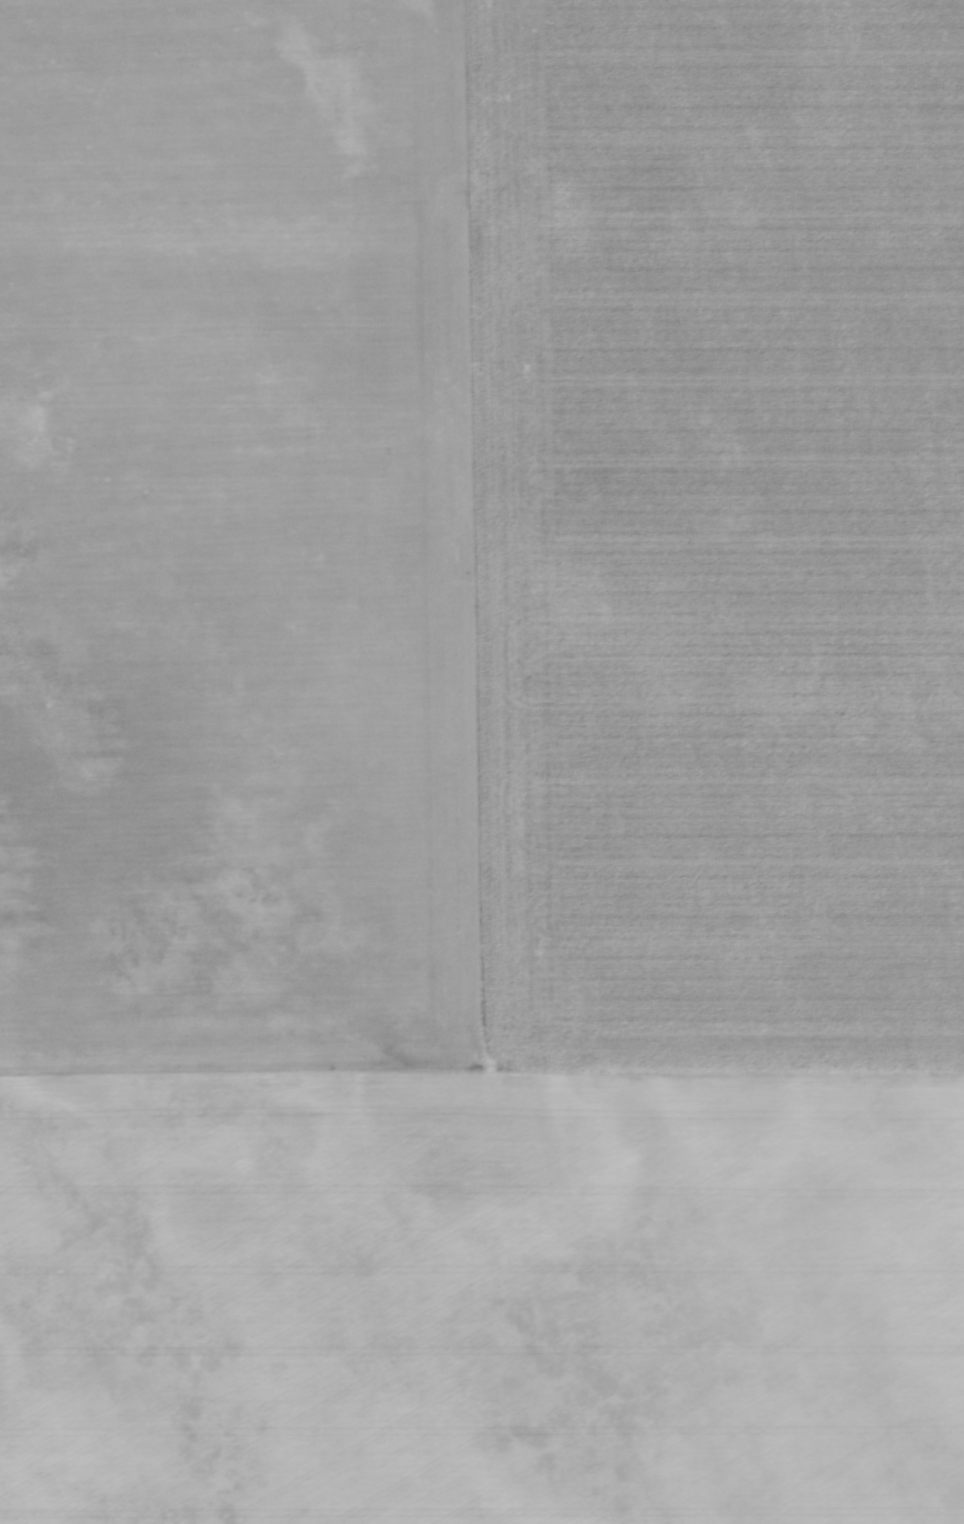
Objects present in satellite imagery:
crop: (482, 762)

